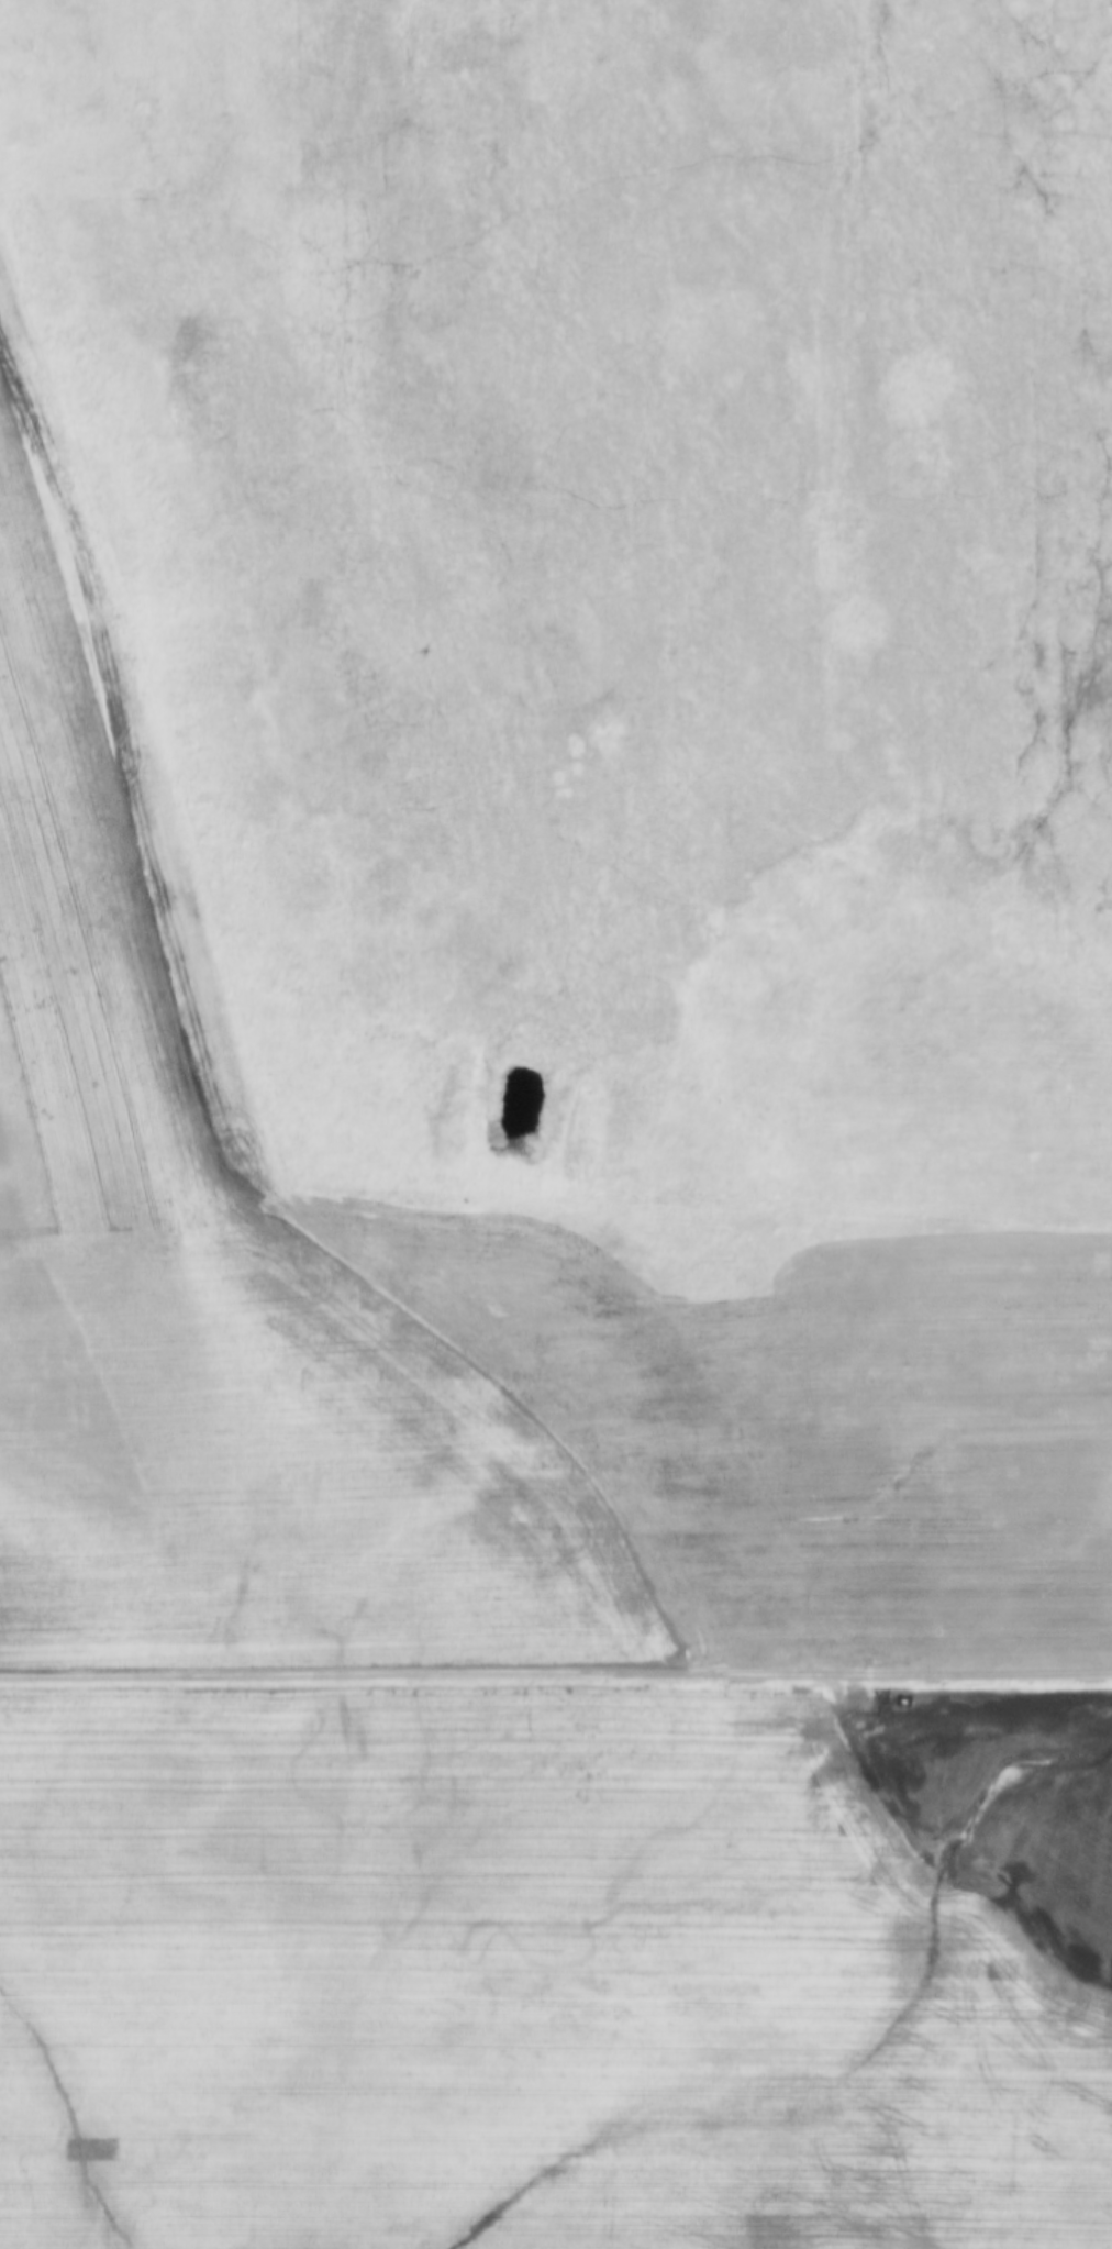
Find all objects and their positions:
road: (555, 1669)

